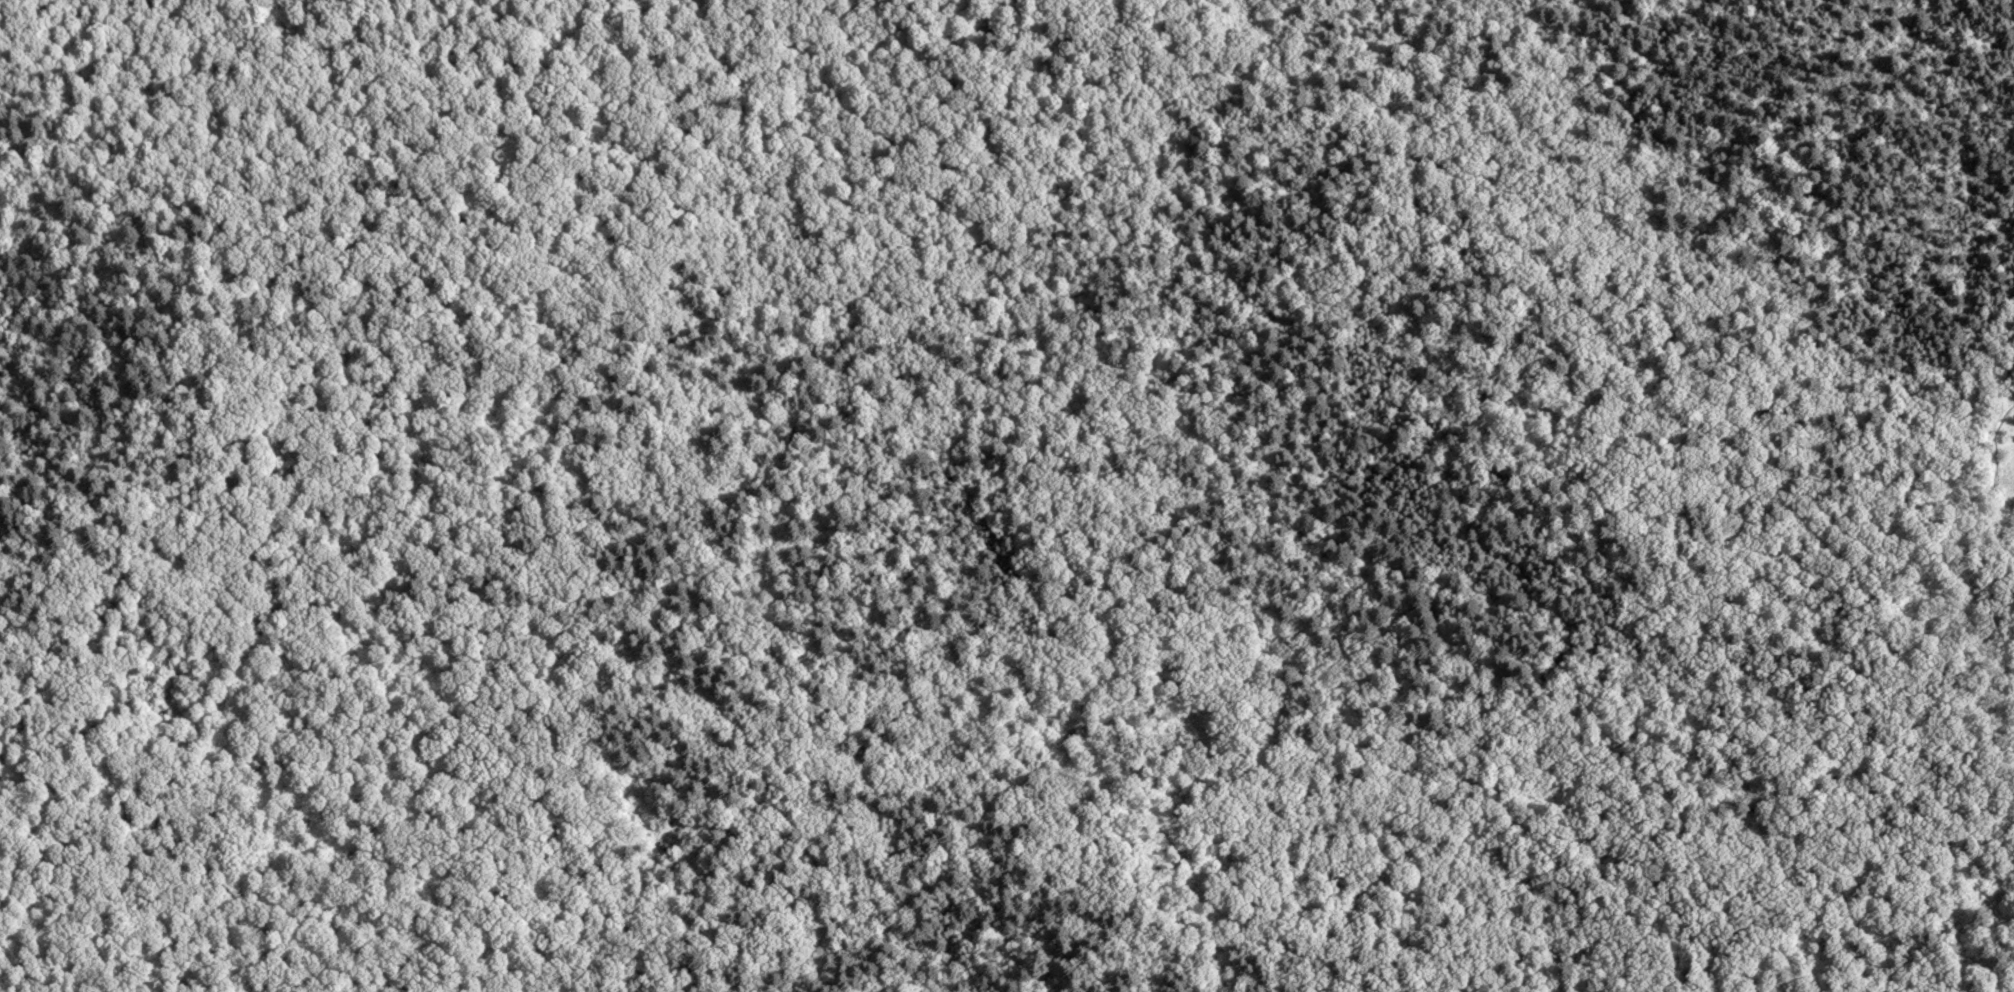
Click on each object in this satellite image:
road: (1907, 705)

